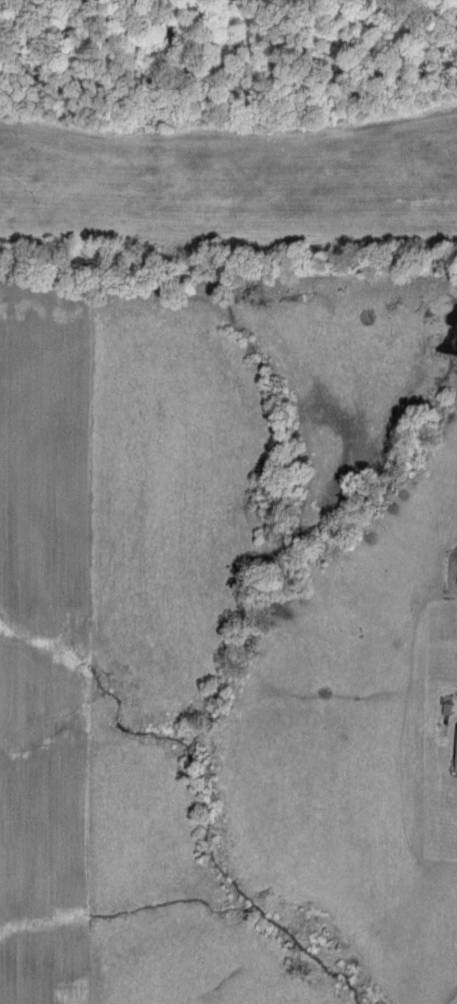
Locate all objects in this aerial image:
building: (456, 762)

